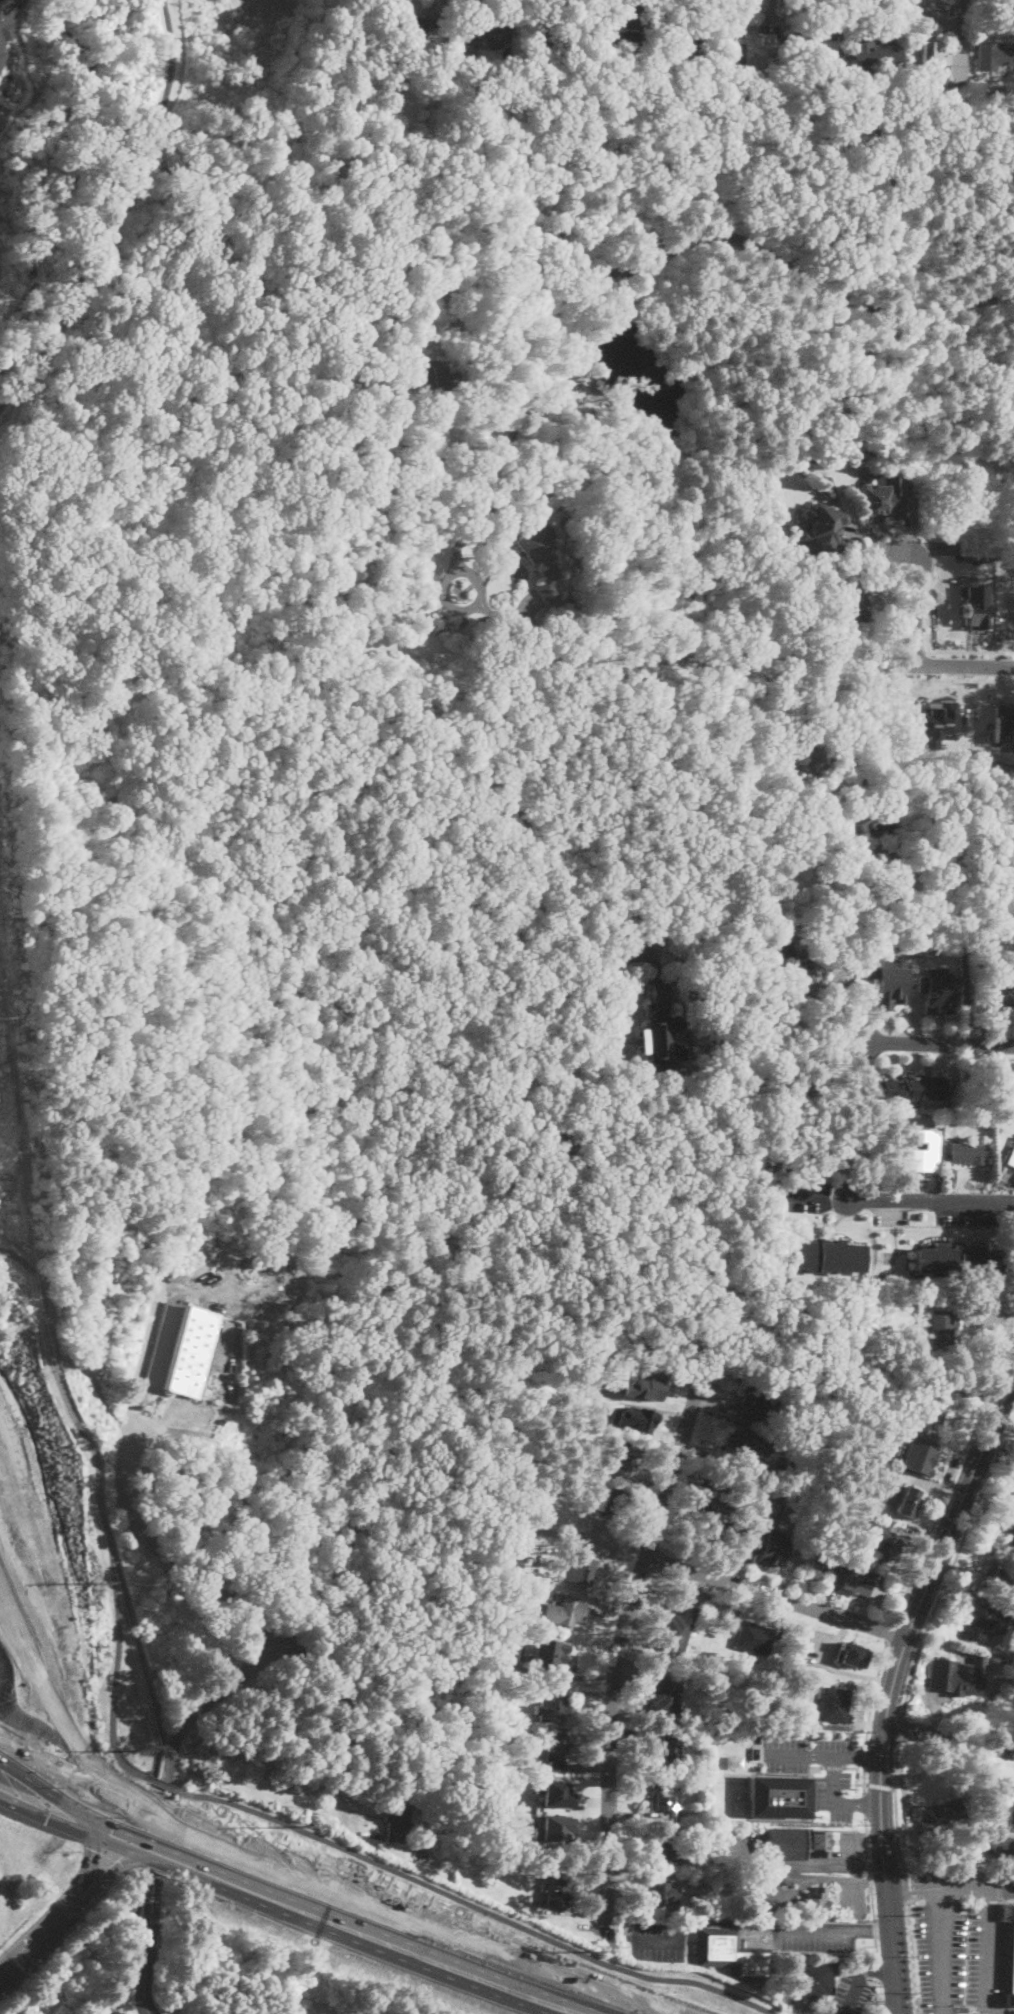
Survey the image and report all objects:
road: (262, 6)
parking lot: (263, 8)
building: (4, 14)
building: (366, 23)
building: (416, 26)
building: (486, 32)
building: (613, 40)
building: (361, 42)
building: (682, 43)
building: (811, 43)
building: (549, 45)
building: (747, 48)
building: (874, 51)
building: (994, 55)
building: (929, 56)
building: (950, 59)
park: (205, 64)
building: (818, 75)
park: (56, 199)
road: (116, 216)
road: (651, 265)
building: (423, 293)
building: (370, 365)
building: (429, 375)
road: (419, 453)
building: (1007, 468)
building: (885, 494)
building: (359, 509)
building: (827, 529)
building: (538, 556)
building: (335, 591)
building: (856, 601)
building: (973, 604)
road: (914, 608)
road: (944, 650)
building: (543, 659)
road: (932, 663)
road: (963, 663)
road: (972, 678)
building: (1003, 724)
building: (861, 829)
building: (1007, 829)
road: (901, 893)
building: (678, 909)
road: (966, 949)
road: (596, 971)
building: (798, 979)
building: (884, 980)
building: (936, 991)
building: (1005, 999)
building: (781, 1024)
building: (659, 1031)
road: (938, 1042)
building: (800, 1086)
building: (914, 1087)
building: (920, 1151)
building: (960, 1153)
building: (1009, 1156)
building: (997, 1182)
road: (930, 1201)
building: (826, 1256)
building: (958, 1262)
building: (172, 1277)
power tower: (18, 1301)
road: (458, 1302)
building: (942, 1328)
building: (182, 1350)
building: (907, 1385)
building: (641, 1389)
road: (64, 1394)
building: (910, 1397)
building: (753, 1402)
building: (932, 1409)
building: (899, 1417)
building: (634, 1419)
building: (797, 1427)
building: (744, 1448)
building: (918, 1459)
building: (625, 1460)
building: (791, 1468)
road: (954, 1474)
building: (562, 1476)
building: (1013, 1489)
building: (751, 1490)
building: (705, 1494)
building: (606, 1501)
building: (909, 1502)
building: (794, 1503)
park: (93, 1509)
building: (710, 1523)
building: (518, 1530)
building: (1009, 1532)
building: (743, 1539)
road: (591, 1540)
road: (148, 1542)
road: (944, 1543)
building: (885, 1546)
building: (768, 1549)
building: (523, 1562)
road: (953, 1562)
building: (837, 1569)
building: (582, 1570)
building: (1003, 1573)
building: (861, 1581)
power tower: (92, 1585)
road: (116, 1586)
road: (777, 1597)
building: (568, 1609)
road: (125, 1618)
building: (978, 1622)
road: (890, 1629)
building: (675, 1633)
building: (754, 1639)
road: (624, 1642)
building: (515, 1646)
building: (546, 1652)
building: (851, 1655)
road: (144, 1668)
building: (954, 1676)
building: (512, 1683)
road: (873, 1691)
building: (664, 1696)
road: (114, 1705)
building: (553, 1705)
building: (834, 1706)
road: (346, 1708)
road: (899, 1730)
road: (949, 1735)
building: (556, 1749)
building: (669, 1751)
power tower: (138, 1752)
road: (799, 1755)
road: (865, 1755)
road: (858, 1756)
road: (833, 1767)
road: (32, 1772)
road: (856, 1772)
road: (834, 1780)
road: (864, 1780)
parking lot: (832, 1782)
road: (161, 1784)
road: (880, 1784)
road: (878, 1785)
building: (777, 1796)
building: (556, 1798)
building: (663, 1800)
road: (82, 1802)
road: (857, 1804)
road: (864, 1804)
road: (46, 1808)
traffic signals: (126, 1808)
traffic signals: (50, 1810)
road: (895, 1812)
building: (943, 1815)
building: (397, 1823)
power tower: (310, 1825)
building: (553, 1827)
building: (1000, 1827)
traffic signals: (95, 1843)
building: (818, 1843)
building: (784, 1844)
building: (661, 1848)
parking lot: (849, 1852)
building: (979, 1859)
traffic signals: (140, 1860)
road: (798, 1864)
road: (885, 1870)
road: (109, 1876)
road: (86, 1878)
building: (753, 1878)
building: (788, 1878)
building: (557, 1883)
road: (871, 1885)
road: (950, 1886)
road: (906, 1889)
building: (662, 1894)
road: (362, 1899)
building: (815, 1903)
road: (475, 1906)
building: (965, 1906)
building: (750, 1909)
road: (337, 1921)
road: (740, 1923)
road: (873, 1929)
parking lot: (812, 1935)
parking lot: (655, 1942)
road: (149, 1946)
road: (132, 1947)
road: (28, 1948)
road: (940, 1950)
road: (893, 1952)
power tower: (592, 1953)
building: (729, 1953)
road: (984, 1954)
building: (1009, 1954)
parking lot: (958, 1956)
road: (911, 1958)
park: (119, 1962)
road: (877, 1968)
road: (878, 1969)
building: (815, 1978)
parking lot: (850, 1989)
road: (852, 1993)
road: (879, 1996)
road: (125, 2010)

